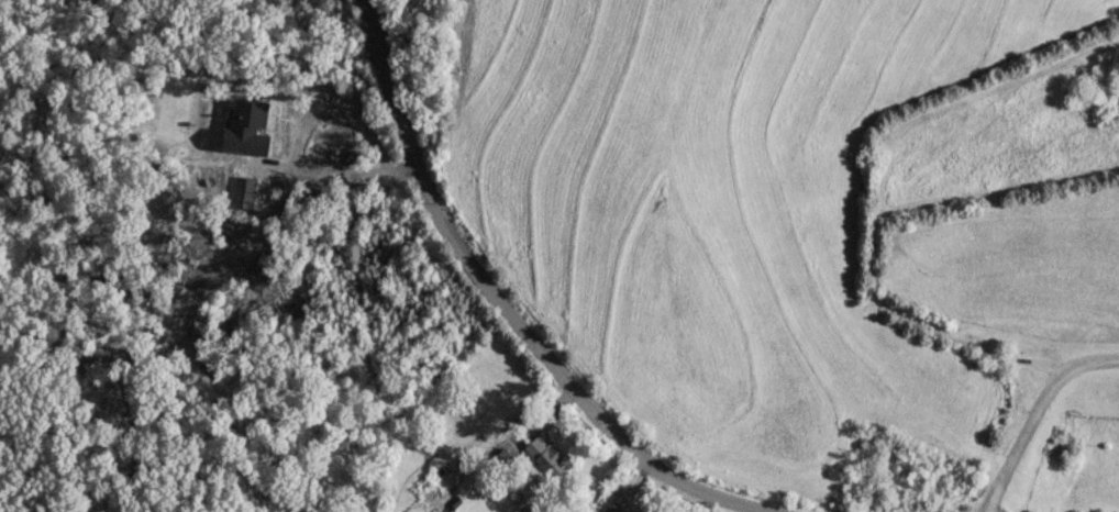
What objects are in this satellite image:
road: (293, 143)
road: (502, 307)
road: (1032, 413)
building: (545, 459)
building: (610, 509)

